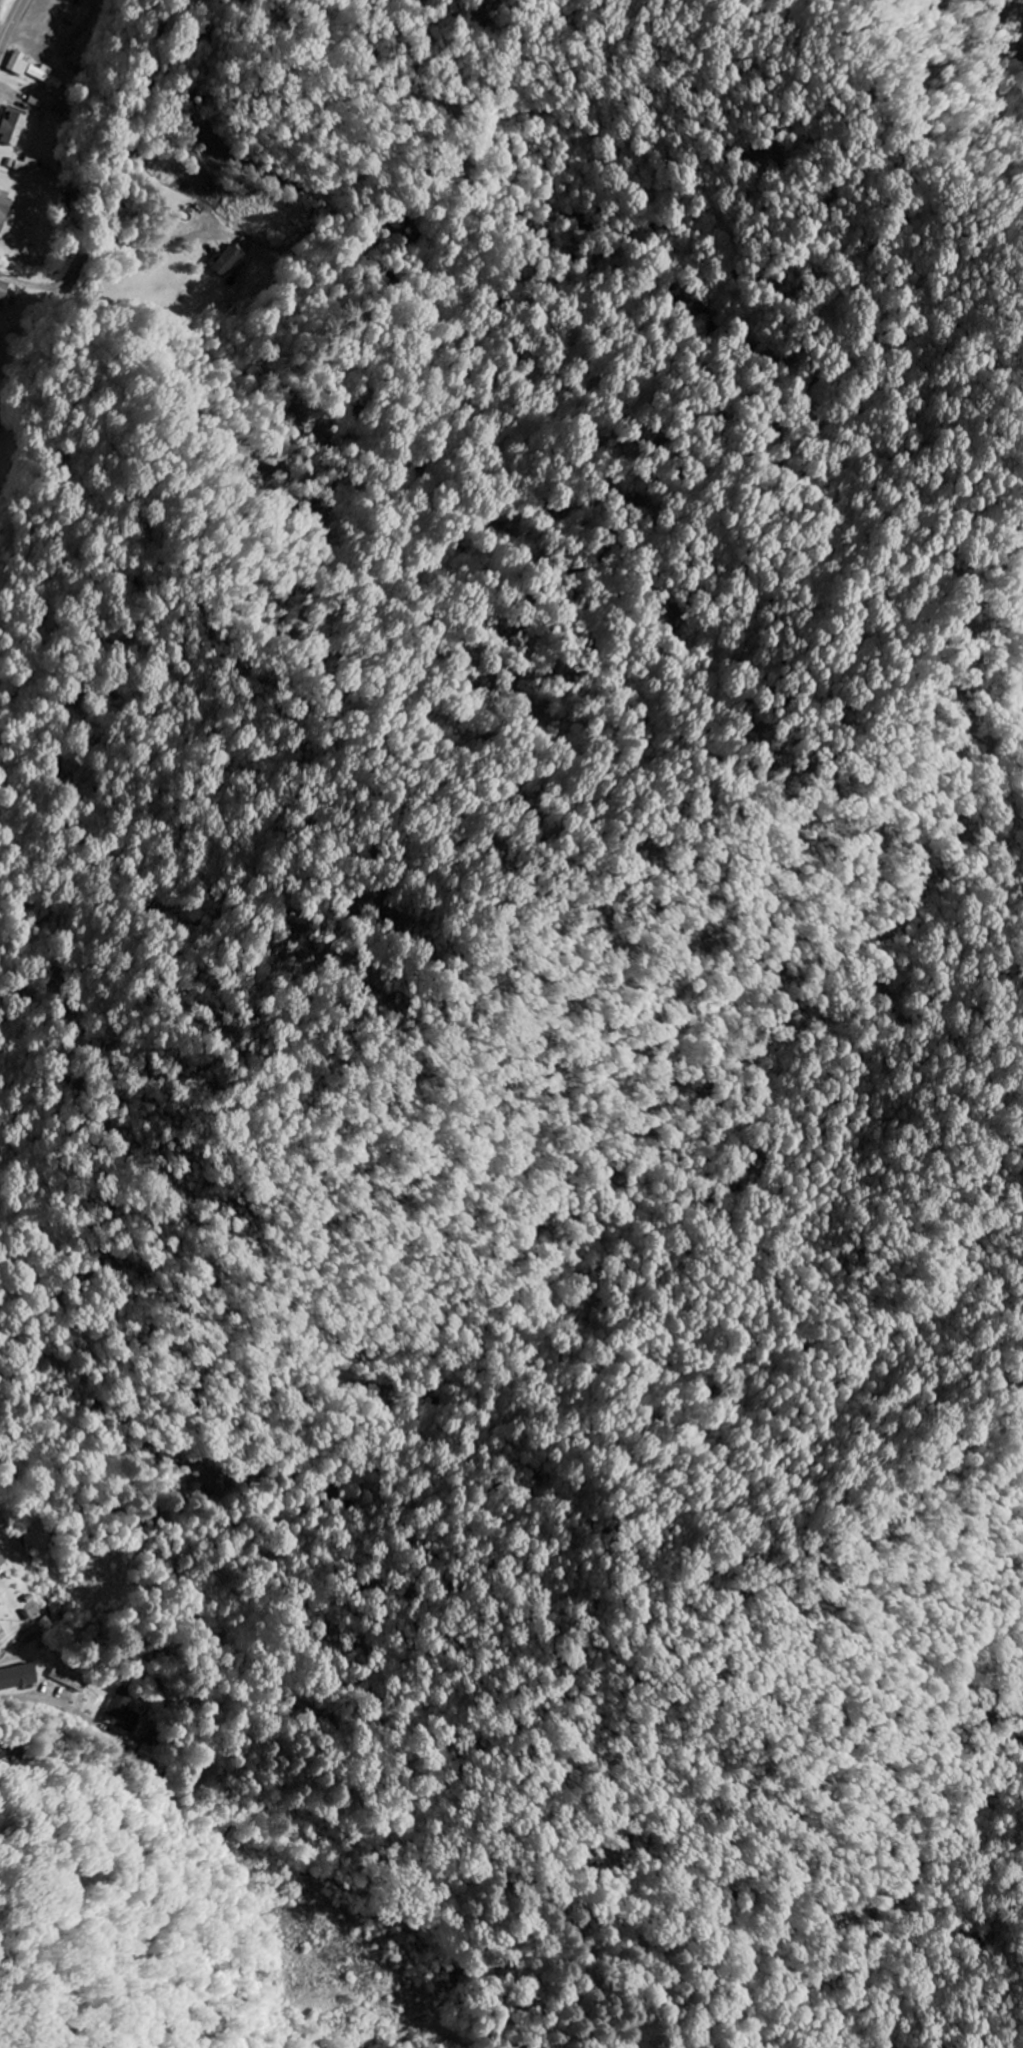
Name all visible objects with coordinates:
road: (12, 26)
building: (35, 71)
building: (14, 129)
building: (30, 169)
building: (5, 209)
building: (232, 259)
building: (4, 291)
building: (3, 1560)
building: (2, 1635)
building: (19, 1678)
building: (68, 1682)
road: (35, 1697)
building: (124, 1712)
road: (5, 1891)

